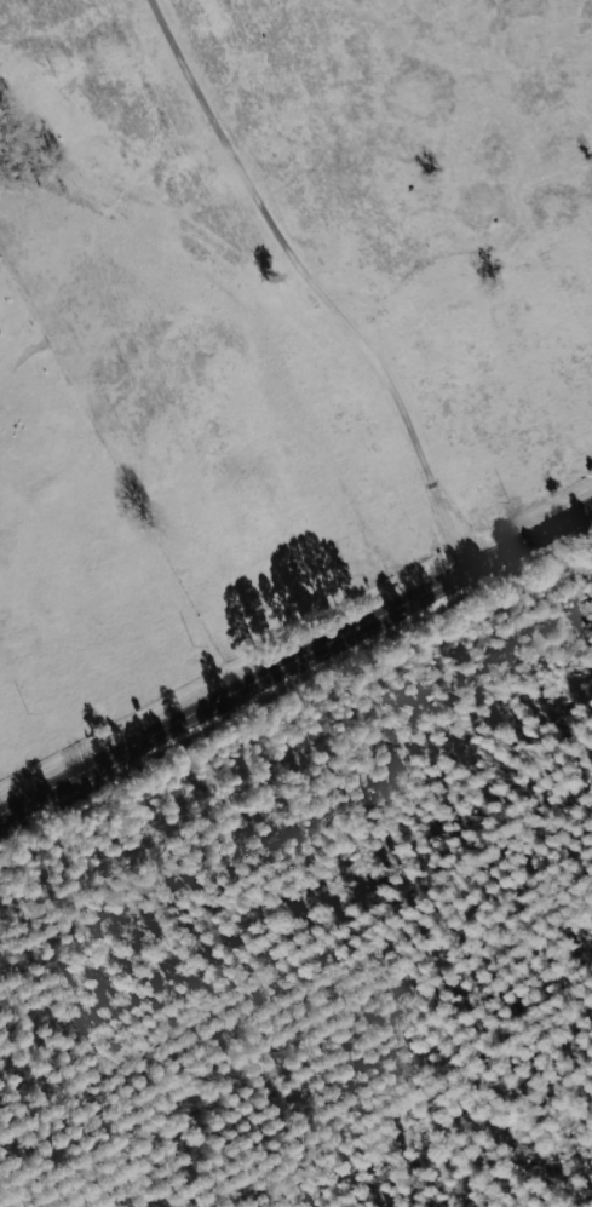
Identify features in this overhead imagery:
road: (320, 278)
road: (295, 662)

